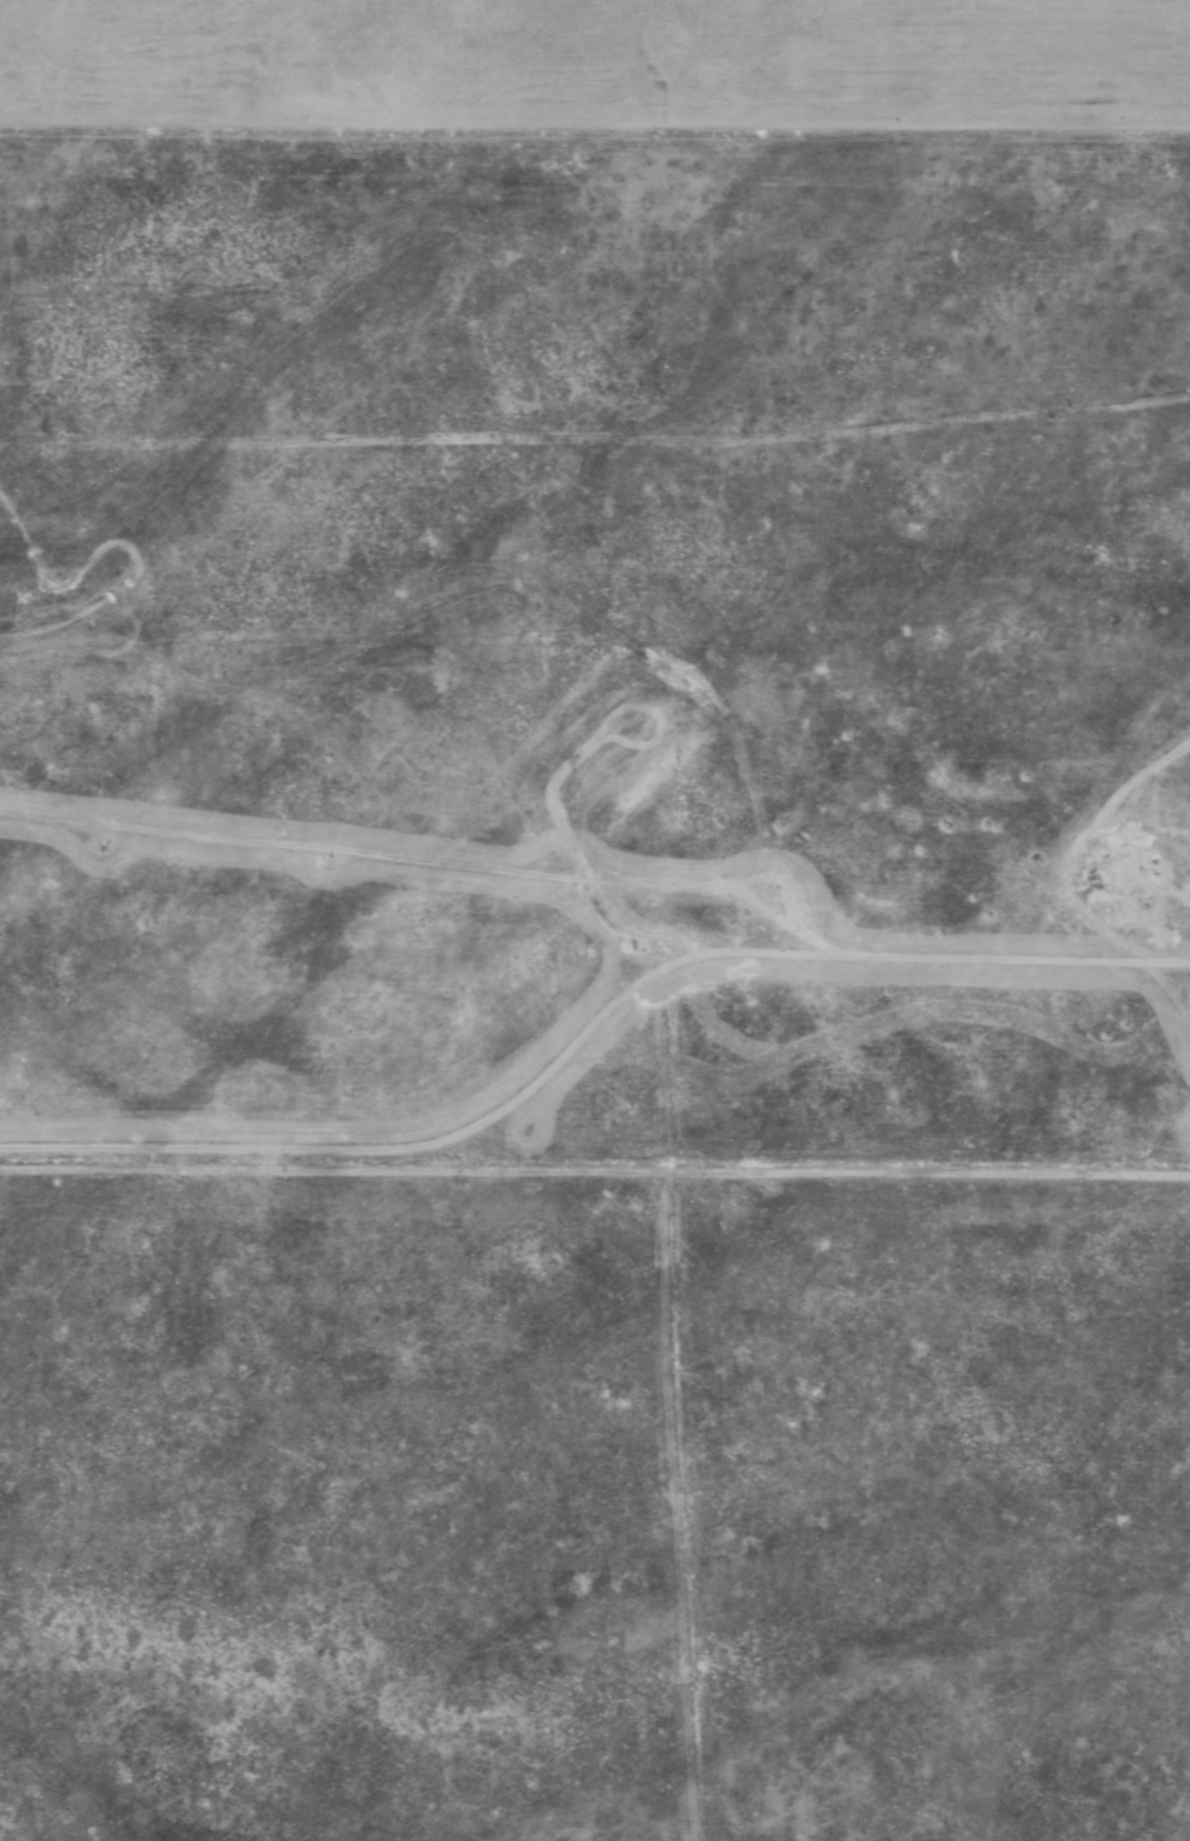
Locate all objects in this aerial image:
road: (595, 1016)
road: (595, 1171)

